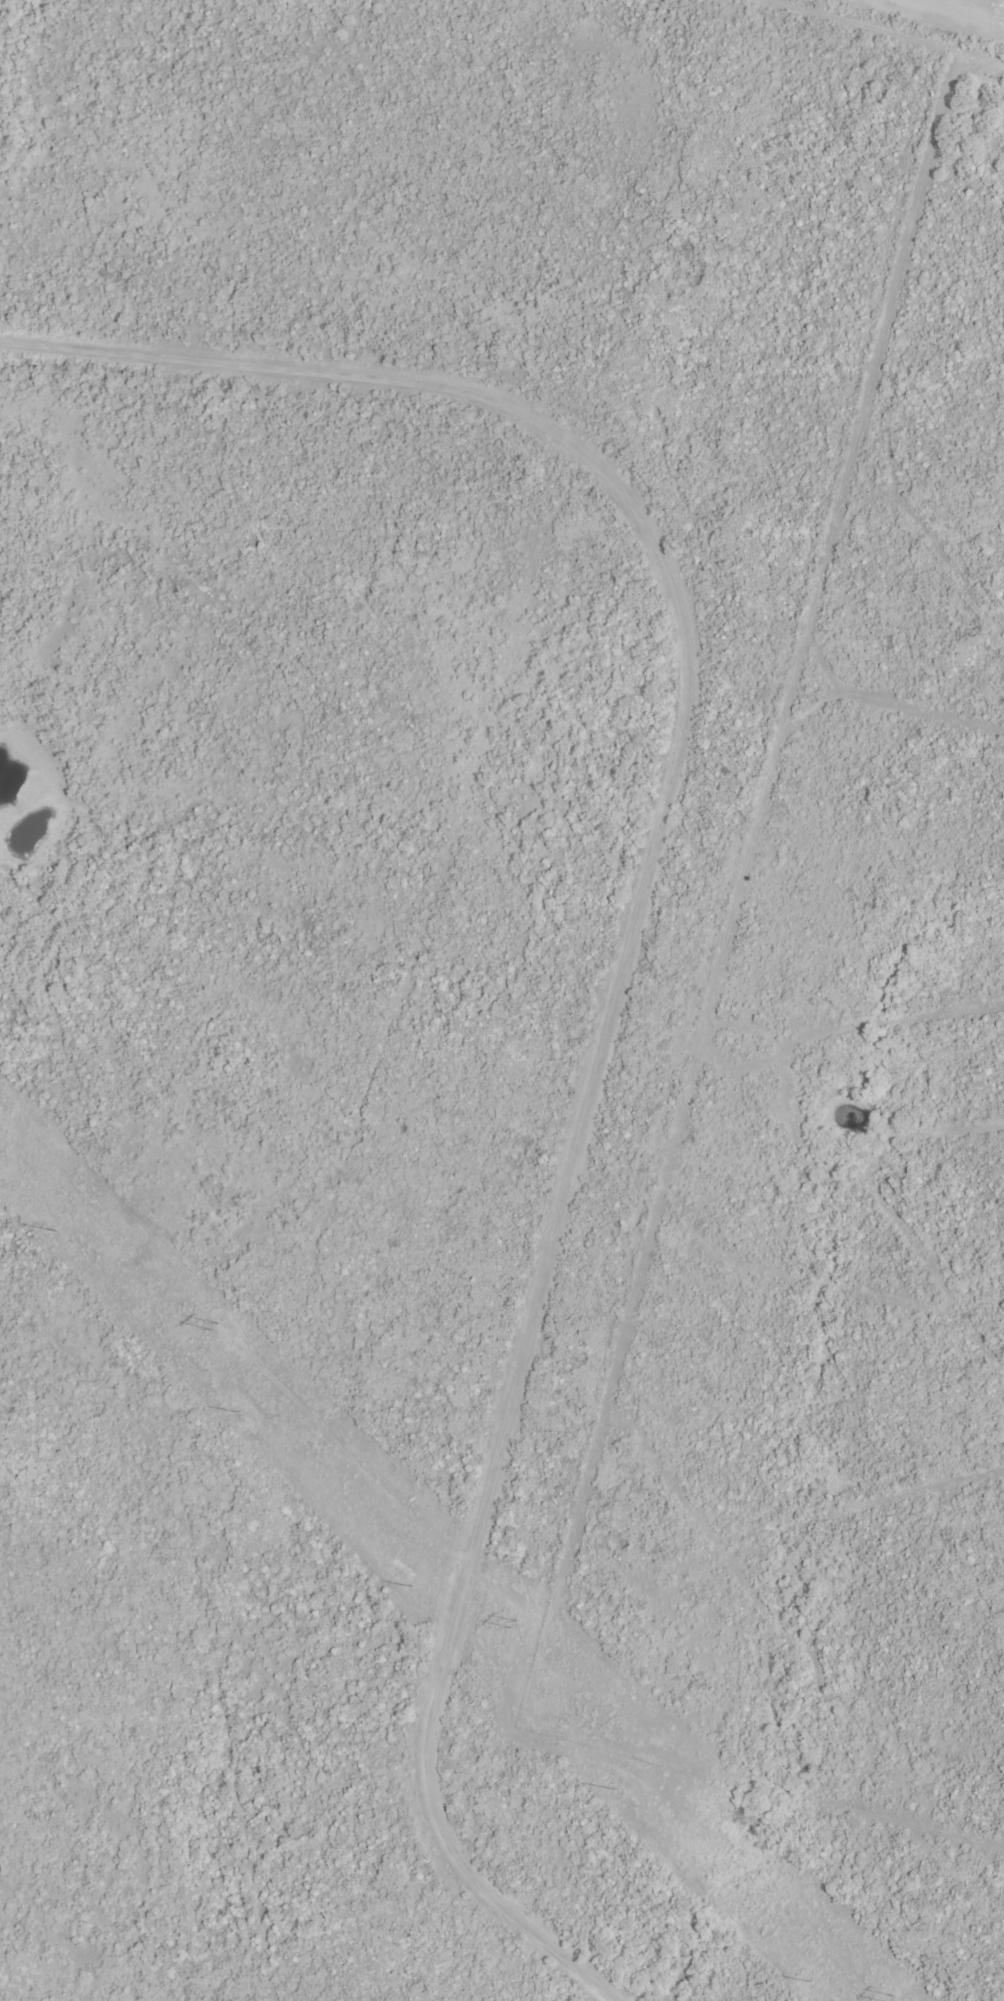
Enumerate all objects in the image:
road: (940, 15)
road: (621, 960)
power tower: (59, 1233)
power tower: (216, 1327)
power tower: (240, 1414)
power tower: (415, 1588)
power tower: (514, 1624)
power tower: (618, 1790)
power tower: (813, 1983)
power tower: (890, 1999)

